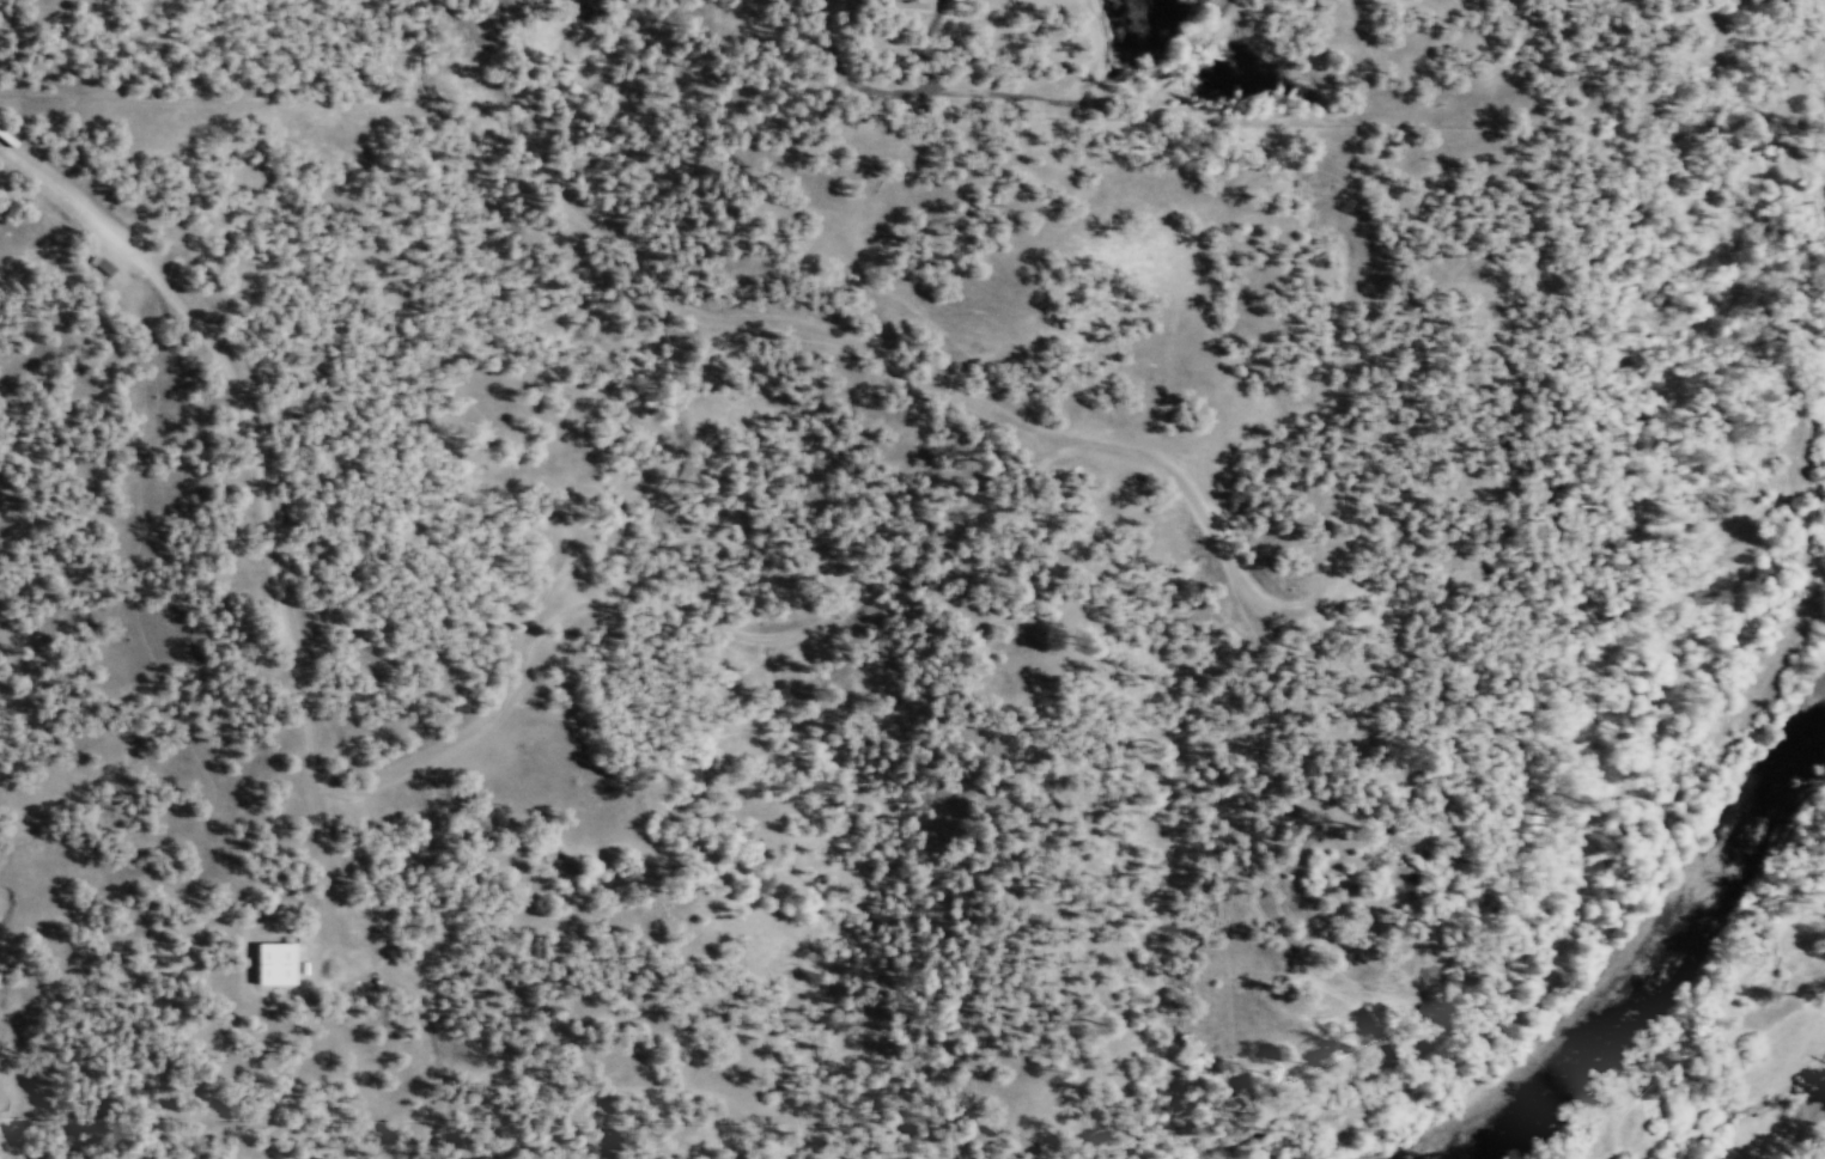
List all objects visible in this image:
building: (907, 4)
road: (926, 43)
road: (923, 89)
road: (851, 342)
road: (264, 500)
road: (661, 597)
river: (1653, 946)
building: (273, 963)
road: (555, 1061)
road: (291, 1074)

